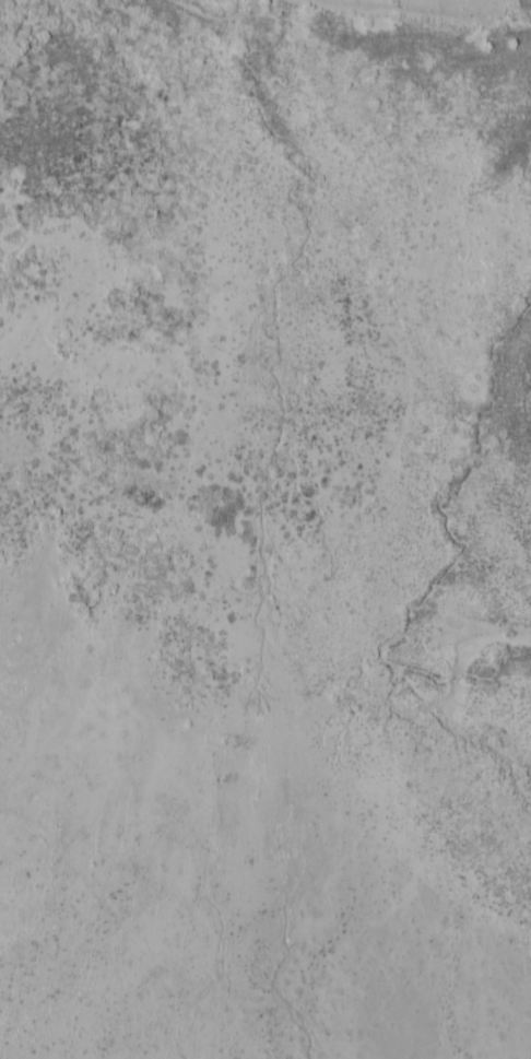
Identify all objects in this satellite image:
river: (484, 34)
river: (458, 558)

